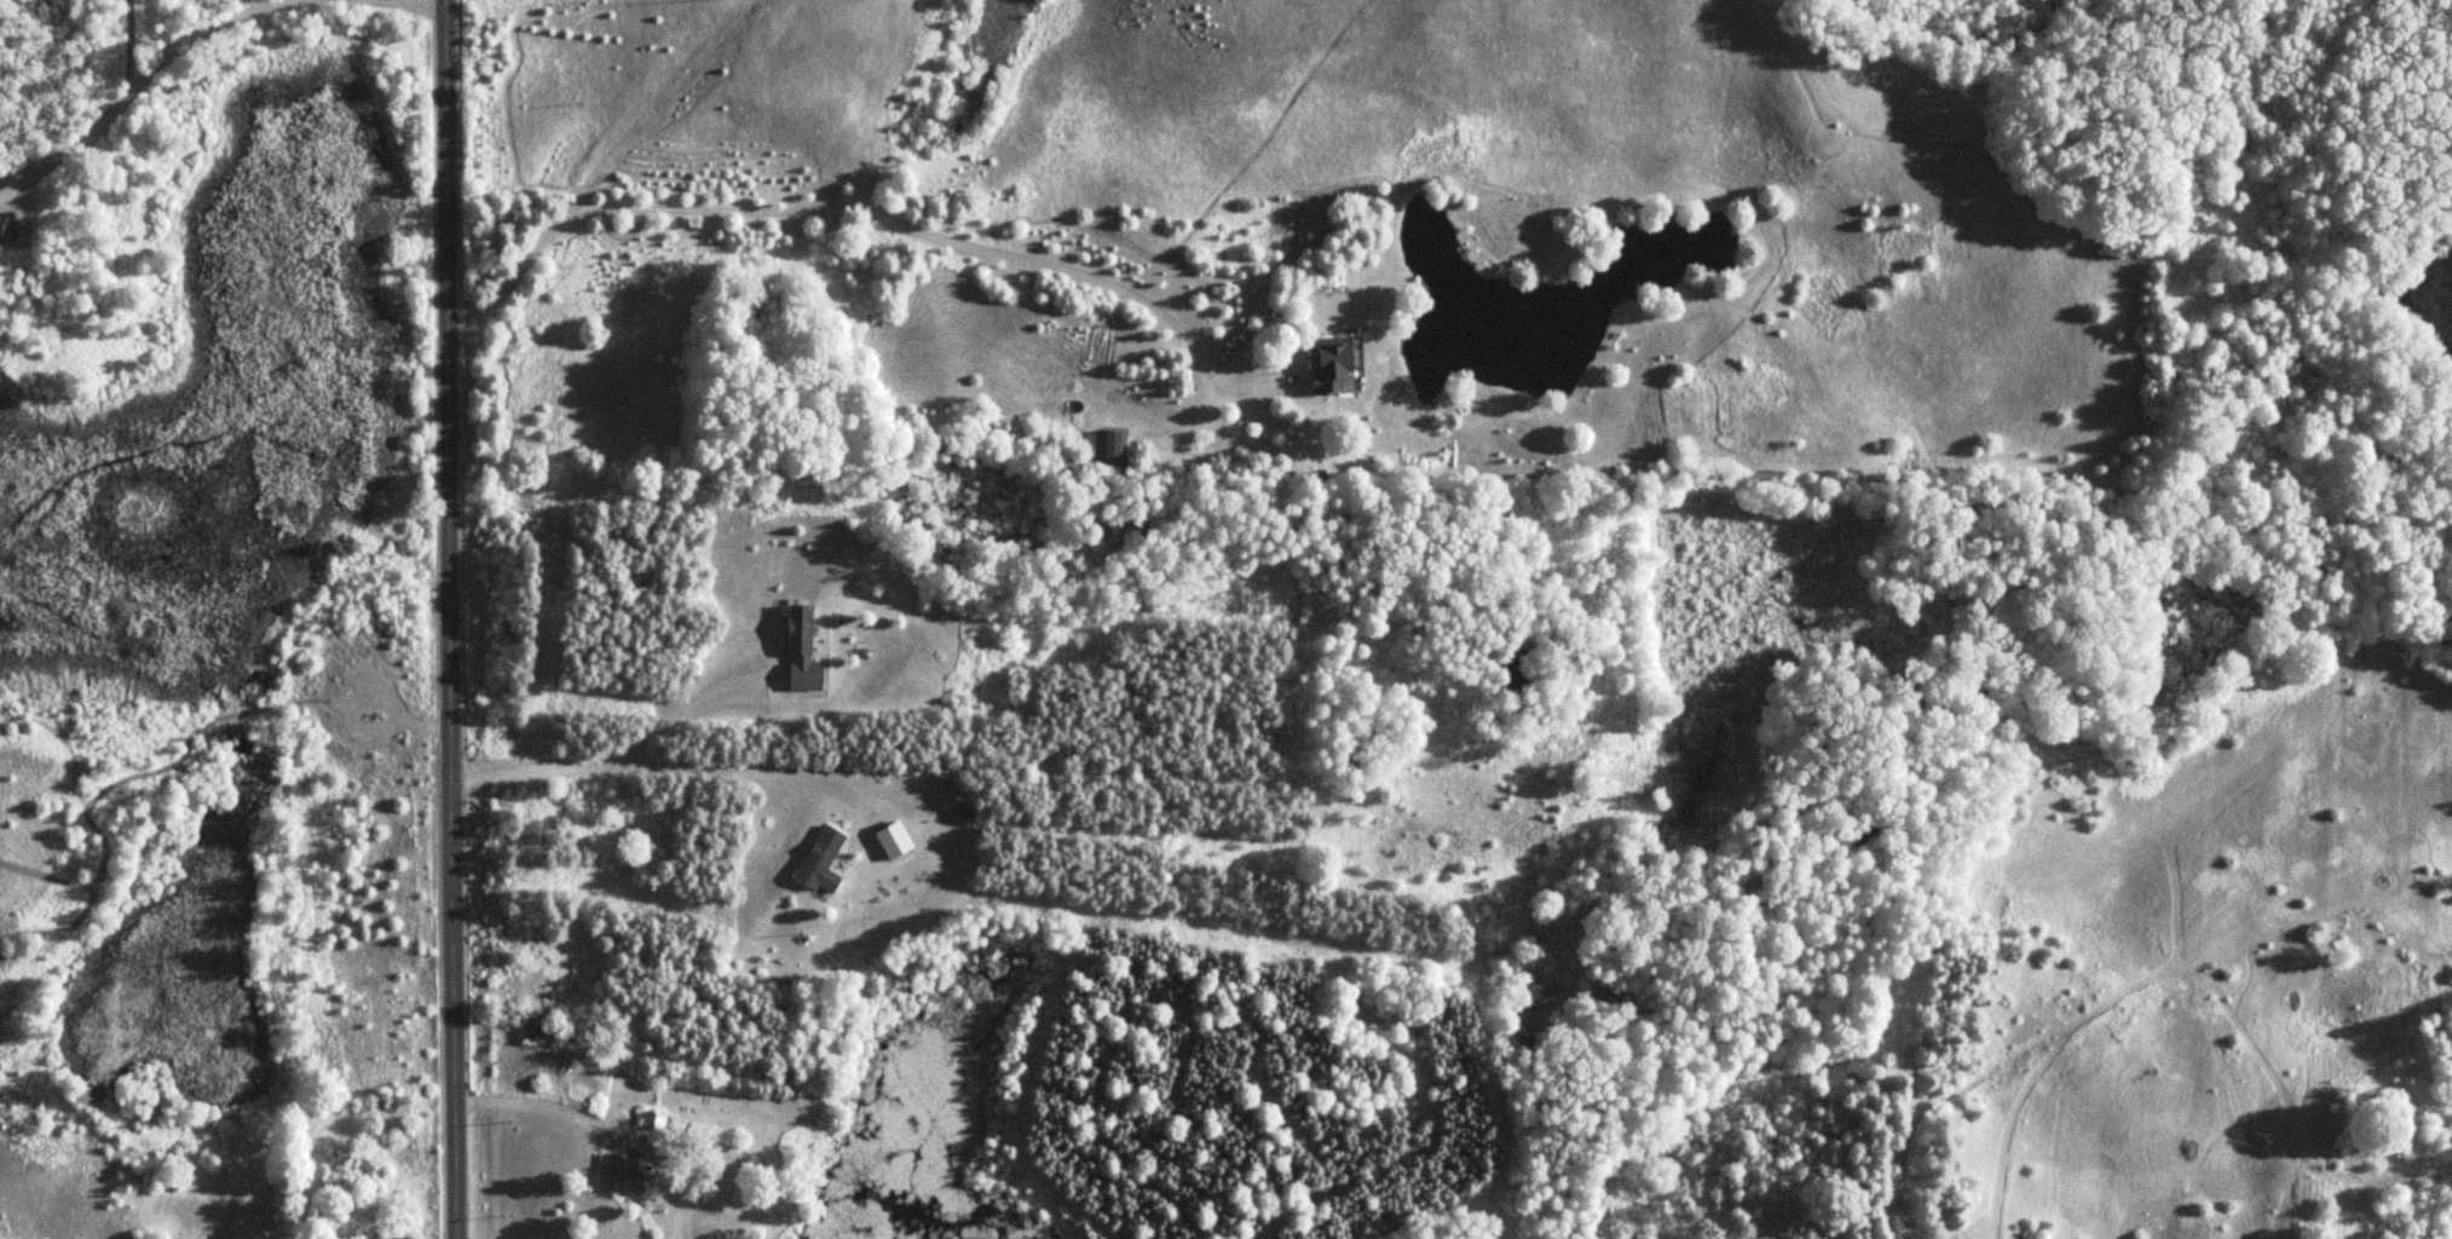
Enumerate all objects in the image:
road: (149, 65)
building: (1334, 363)
building: (1112, 448)
road: (449, 619)
building: (803, 649)
building: (825, 859)
building: (546, 1035)
building: (657, 1120)
building: (621, 1172)
building: (394, 1234)

